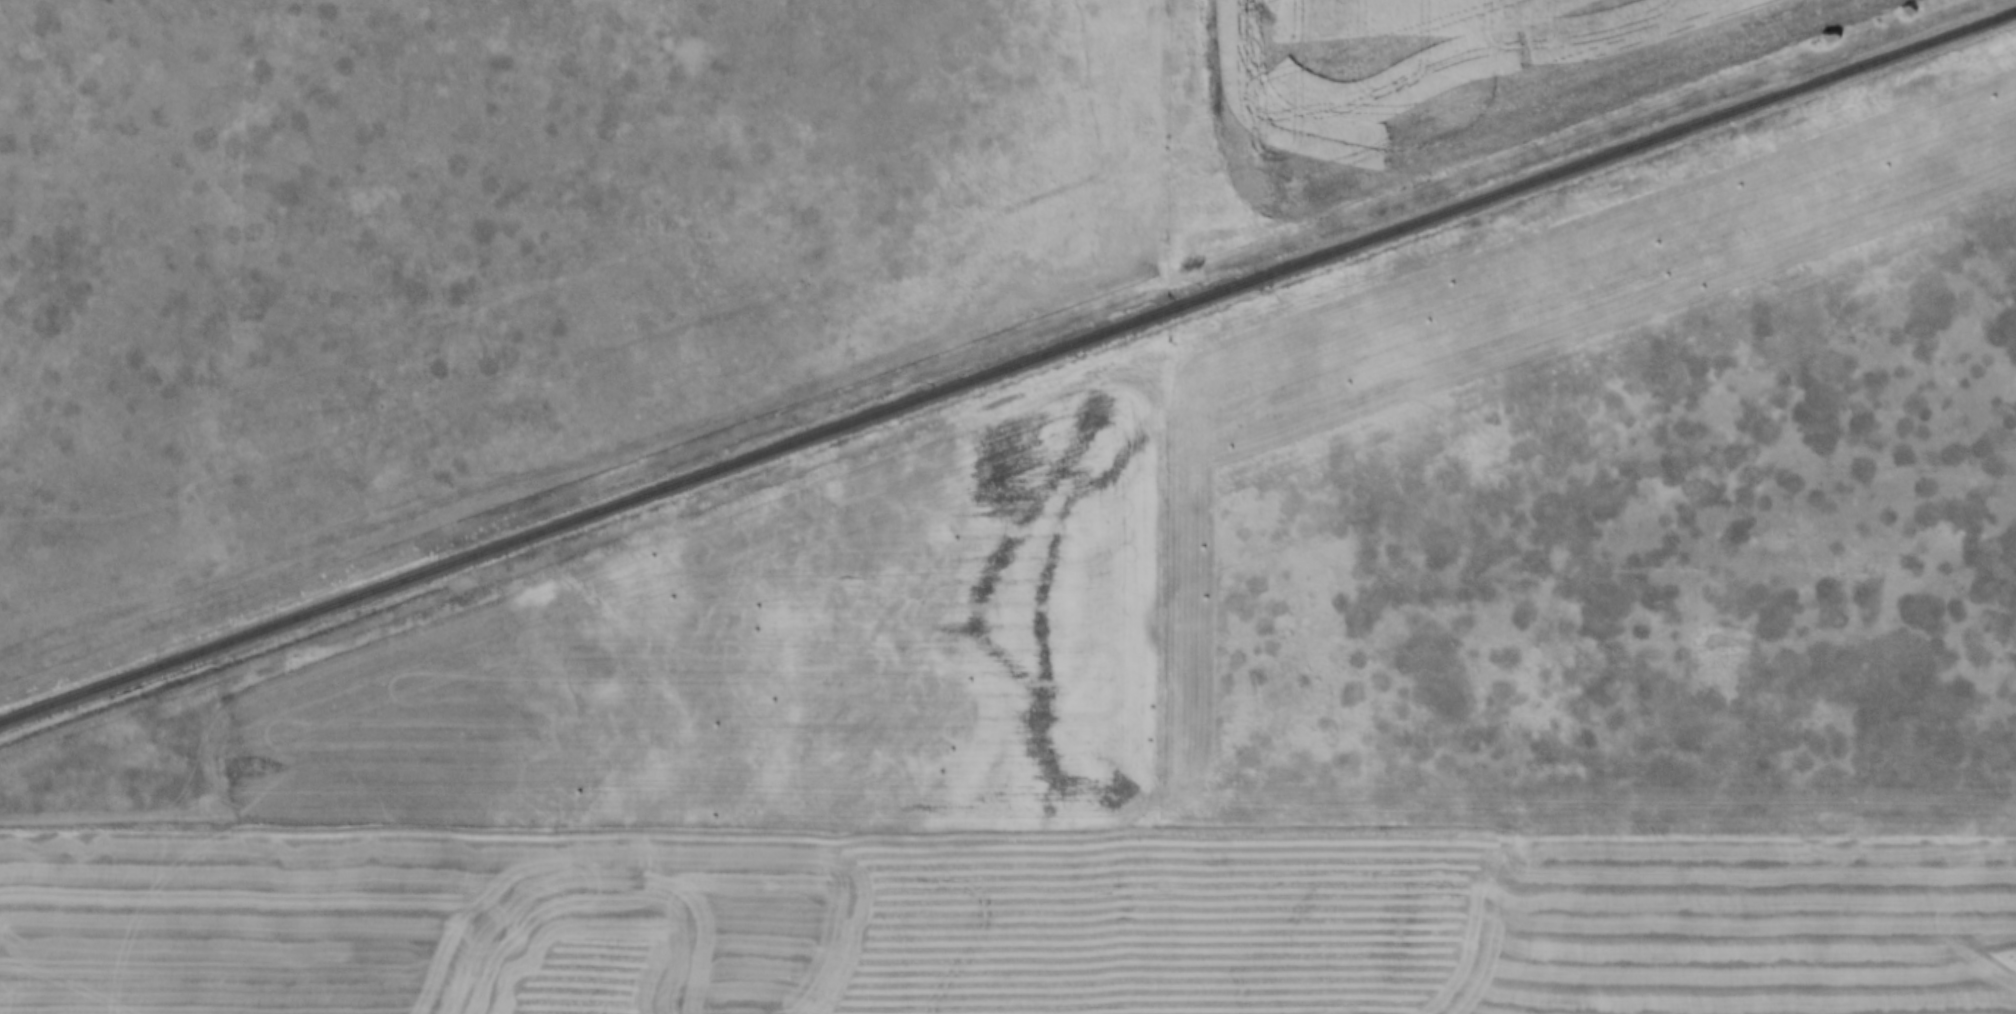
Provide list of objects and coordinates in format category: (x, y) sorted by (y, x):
railway: (1008, 367)
road: (82, 818)

